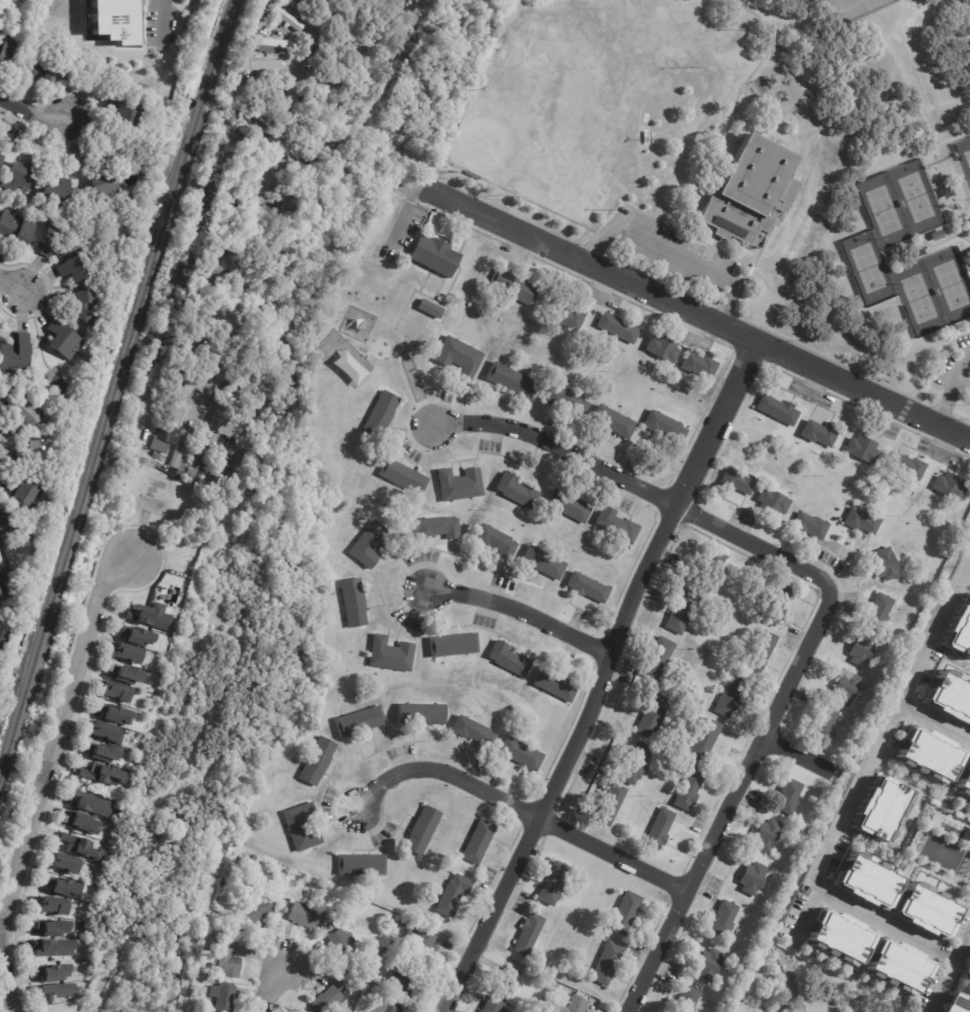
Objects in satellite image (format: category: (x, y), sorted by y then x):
building: (292, 3)
park: (845, 3)
road: (165, 6)
building: (282, 19)
building: (113, 20)
road: (864, 27)
road: (314, 35)
railway: (220, 42)
building: (356, 42)
building: (267, 44)
building: (6, 50)
building: (258, 65)
building: (41, 69)
building: (330, 77)
road: (924, 80)
road: (292, 97)
railway: (202, 99)
building: (122, 112)
road: (32, 113)
building: (314, 123)
building: (250, 126)
building: (455, 129)
park: (510, 134)
road: (723, 141)
building: (247, 142)
park: (573, 152)
building: (320, 153)
park: (967, 156)
building: (0, 158)
park: (749, 164)
building: (239, 169)
building: (303, 170)
building: (471, 175)
building: (19, 178)
building: (52, 187)
building: (101, 188)
building: (750, 193)
building: (225, 196)
park: (915, 197)
building: (308, 200)
park: (883, 209)
building: (220, 217)
building: (15, 229)
building: (217, 240)
building: (46, 242)
building: (64, 247)
road: (673, 252)
parking lot: (676, 253)
building: (919, 253)
building: (434, 254)
road: (580, 260)
building: (212, 264)
road: (241, 266)
park: (868, 267)
building: (71, 269)
building: (200, 284)
park: (952, 284)
road: (11, 285)
building: (512, 286)
park: (919, 297)
building: (80, 306)
building: (190, 308)
building: (429, 308)
building: (565, 316)
building: (618, 327)
building: (189, 332)
building: (62, 339)
building: (663, 347)
building: (248, 349)
building: (180, 350)
building: (15, 353)
building: (459, 356)
building: (239, 363)
building: (699, 365)
parking lot: (954, 370)
building: (236, 377)
building: (174, 378)
building: (511, 379)
road: (963, 380)
road: (952, 388)
road: (863, 391)
building: (566, 398)
building: (0, 400)
building: (232, 400)
road: (200, 409)
building: (778, 409)
building: (380, 414)
building: (20, 416)
building: (614, 421)
road: (717, 423)
building: (144, 426)
building: (664, 426)
building: (819, 433)
building: (160, 441)
railway: (99, 445)
building: (862, 448)
building: (180, 452)
building: (38, 456)
building: (155, 456)
building: (201, 456)
building: (219, 466)
building: (907, 466)
building: (402, 476)
building: (738, 481)
building: (459, 483)
building: (950, 486)
building: (517, 491)
building: (22, 497)
building: (773, 501)
building: (569, 506)
building: (862, 520)
building: (5, 522)
building: (617, 525)
building: (810, 525)
building: (437, 527)
building: (495, 541)
building: (371, 544)
building: (543, 562)
building: (885, 564)
building: (712, 566)
building: (588, 587)
building: (7, 589)
building: (353, 602)
building: (775, 606)
road: (830, 606)
building: (2, 611)
road: (522, 611)
building: (682, 611)
building: (880, 611)
building: (148, 617)
building: (960, 630)
building: (1, 636)
building: (136, 636)
building: (453, 644)
building: (862, 650)
building: (759, 652)
building: (126, 654)
building: (390, 654)
building: (657, 658)
building: (509, 659)
building: (125, 674)
building: (901, 680)
building: (555, 685)
building: (846, 688)
building: (115, 692)
building: (730, 695)
building: (949, 698)
building: (113, 714)
building: (421, 714)
building: (653, 716)
building: (359, 721)
building: (824, 723)
road: (931, 731)
building: (103, 732)
building: (473, 732)
building: (703, 741)
road: (875, 746)
building: (102, 752)
building: (521, 754)
road: (799, 754)
building: (929, 755)
building: (317, 761)
road: (568, 761)
building: (635, 764)
building: (102, 774)
road: (44, 778)
building: (964, 779)
building: (689, 789)
building: (789, 796)
building: (611, 804)
building: (89, 805)
road: (521, 808)
building: (881, 809)
building: (82, 825)
building: (301, 827)
building: (659, 829)
building: (422, 831)
building: (767, 835)
building: (968, 839)
building: (477, 841)
building: (79, 848)
building: (243, 861)
building: (62, 864)
building: (361, 865)
building: (752, 878)
building: (553, 882)
building: (866, 882)
building: (62, 887)
building: (452, 896)
building: (52, 906)
building: (625, 911)
building: (925, 911)
building: (253, 913)
building: (303, 916)
building: (724, 918)
building: (402, 922)
building: (323, 923)
road: (885, 924)
building: (345, 925)
building: (52, 929)
building: (528, 932)
building: (839, 936)
building: (420, 940)
building: (341, 944)
building: (54, 949)
building: (224, 957)
building: (607, 962)
building: (711, 964)
building: (213, 965)
building: (899, 966)
building: (967, 968)
building: (52, 973)
building: (403, 978)
road: (953, 978)
building: (348, 979)
building: (506, 982)
building: (559, 985)
road: (270, 987)
park: (807, 988)
building: (376, 990)
building: (54, 991)
building: (221, 997)
building: (687, 999)
building: (326, 1000)
building: (545, 1001)
building: (957, 1003)
building: (579, 1004)
building: (492, 1005)
building: (385, 1006)

